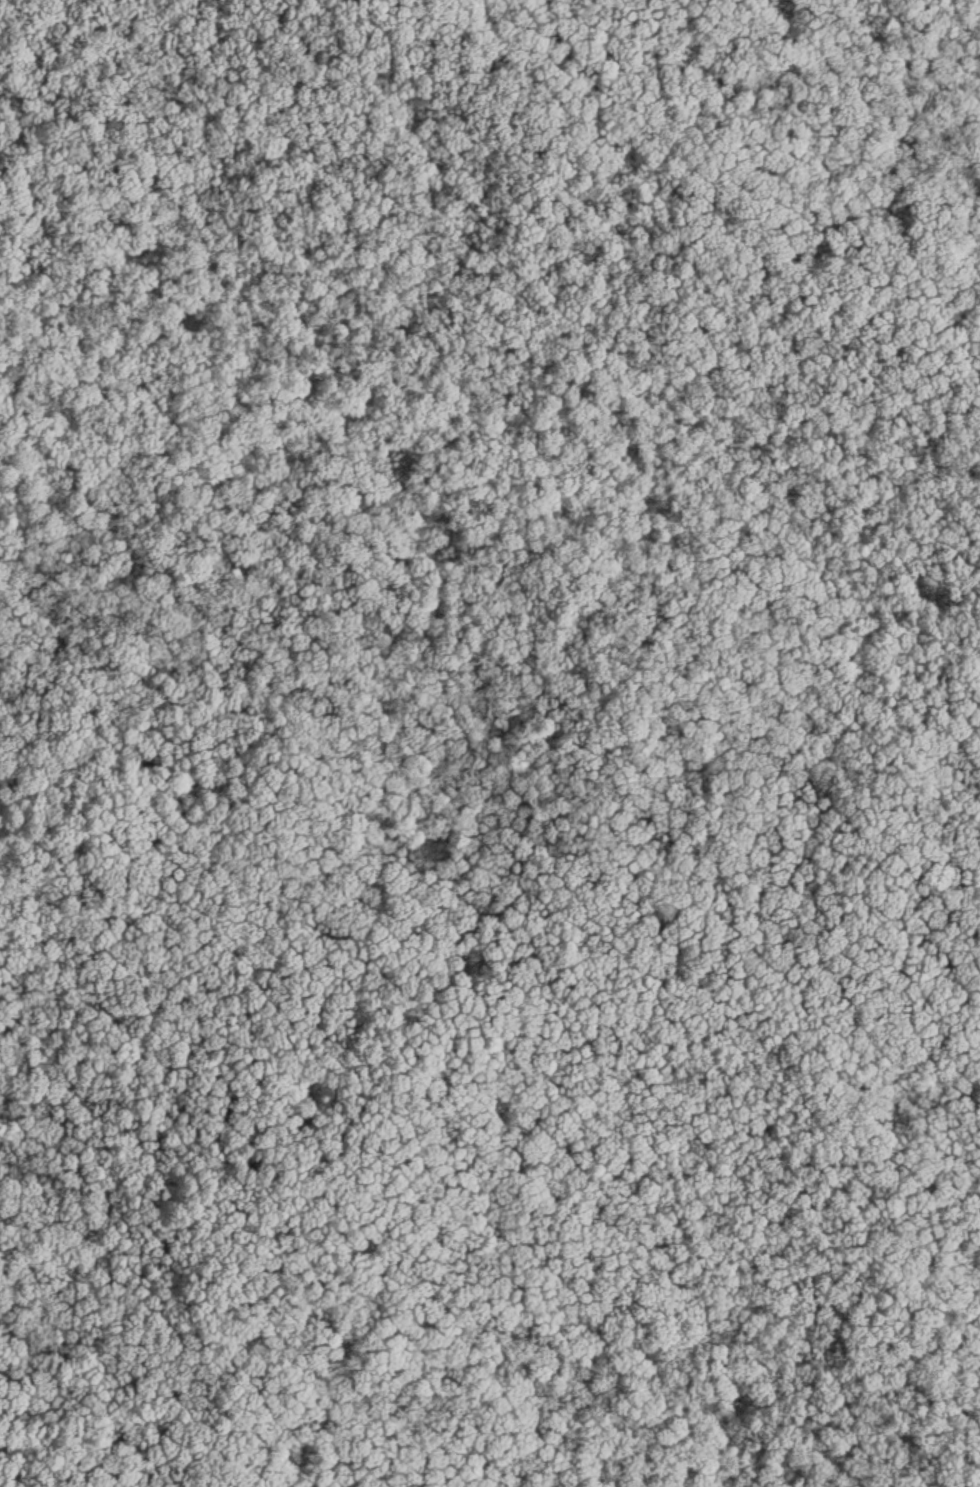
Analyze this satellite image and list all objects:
road: (189, 374)

